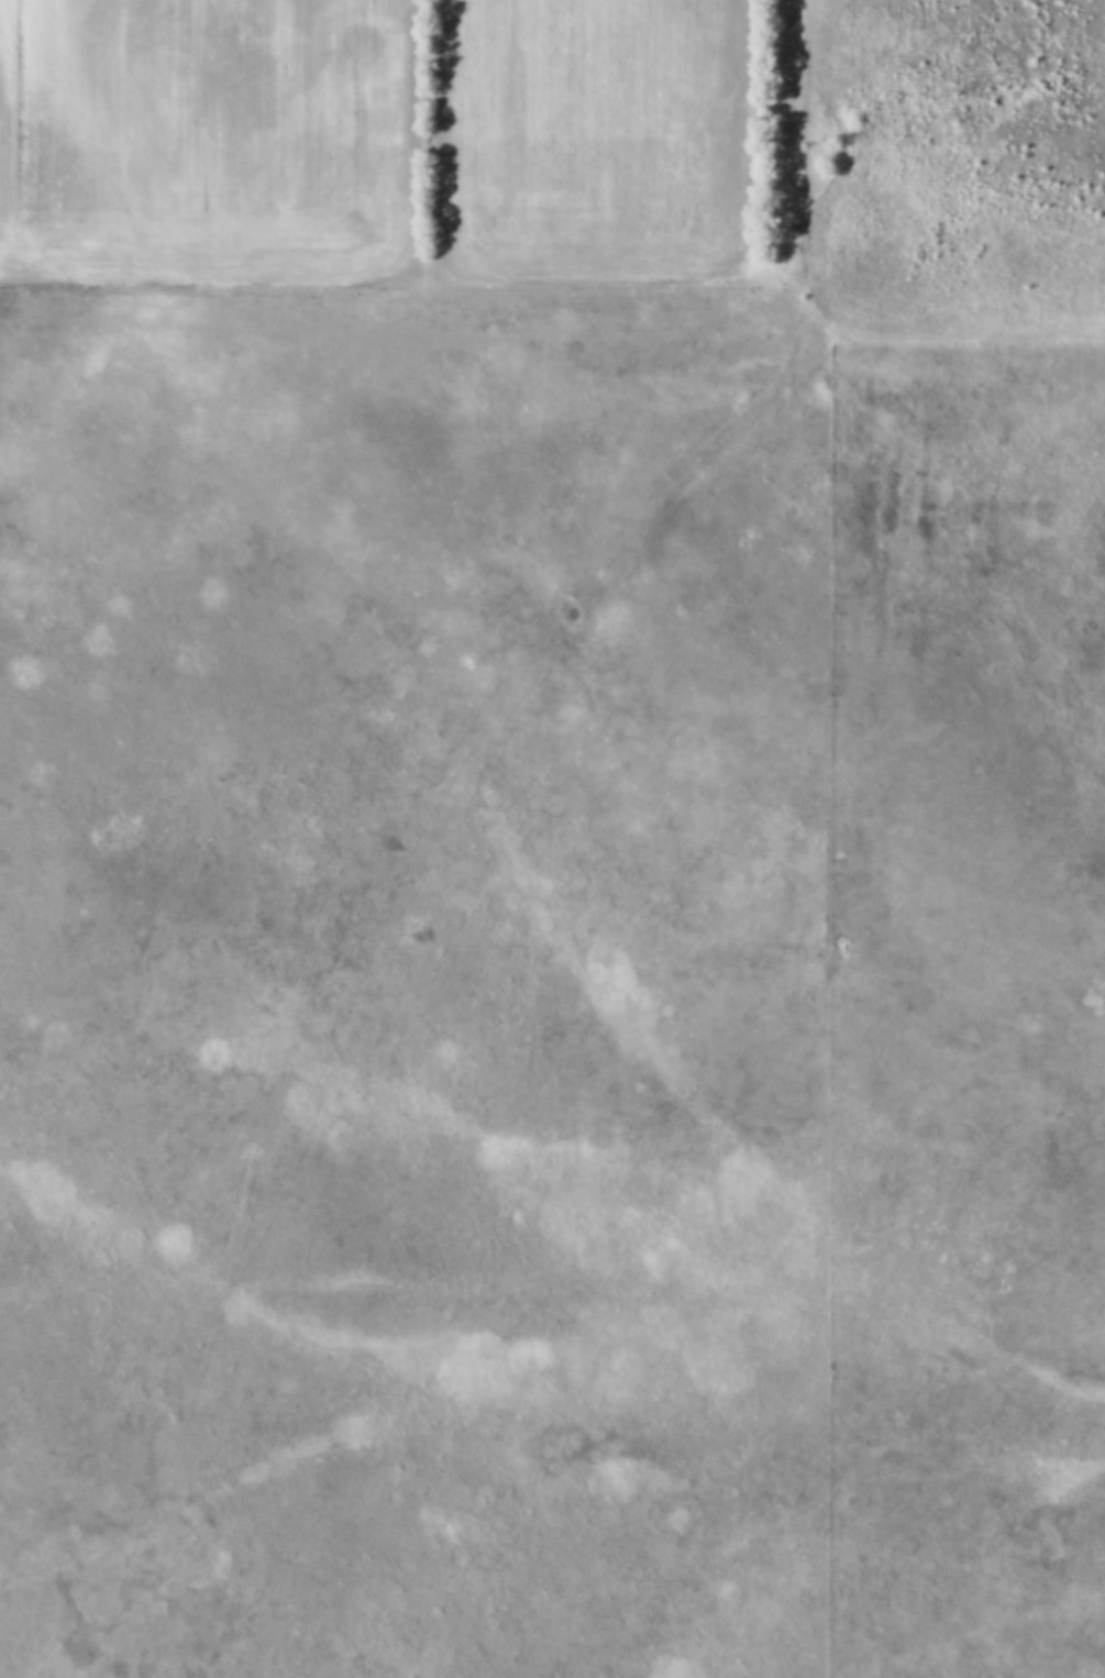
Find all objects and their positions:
road: (789, 142)

